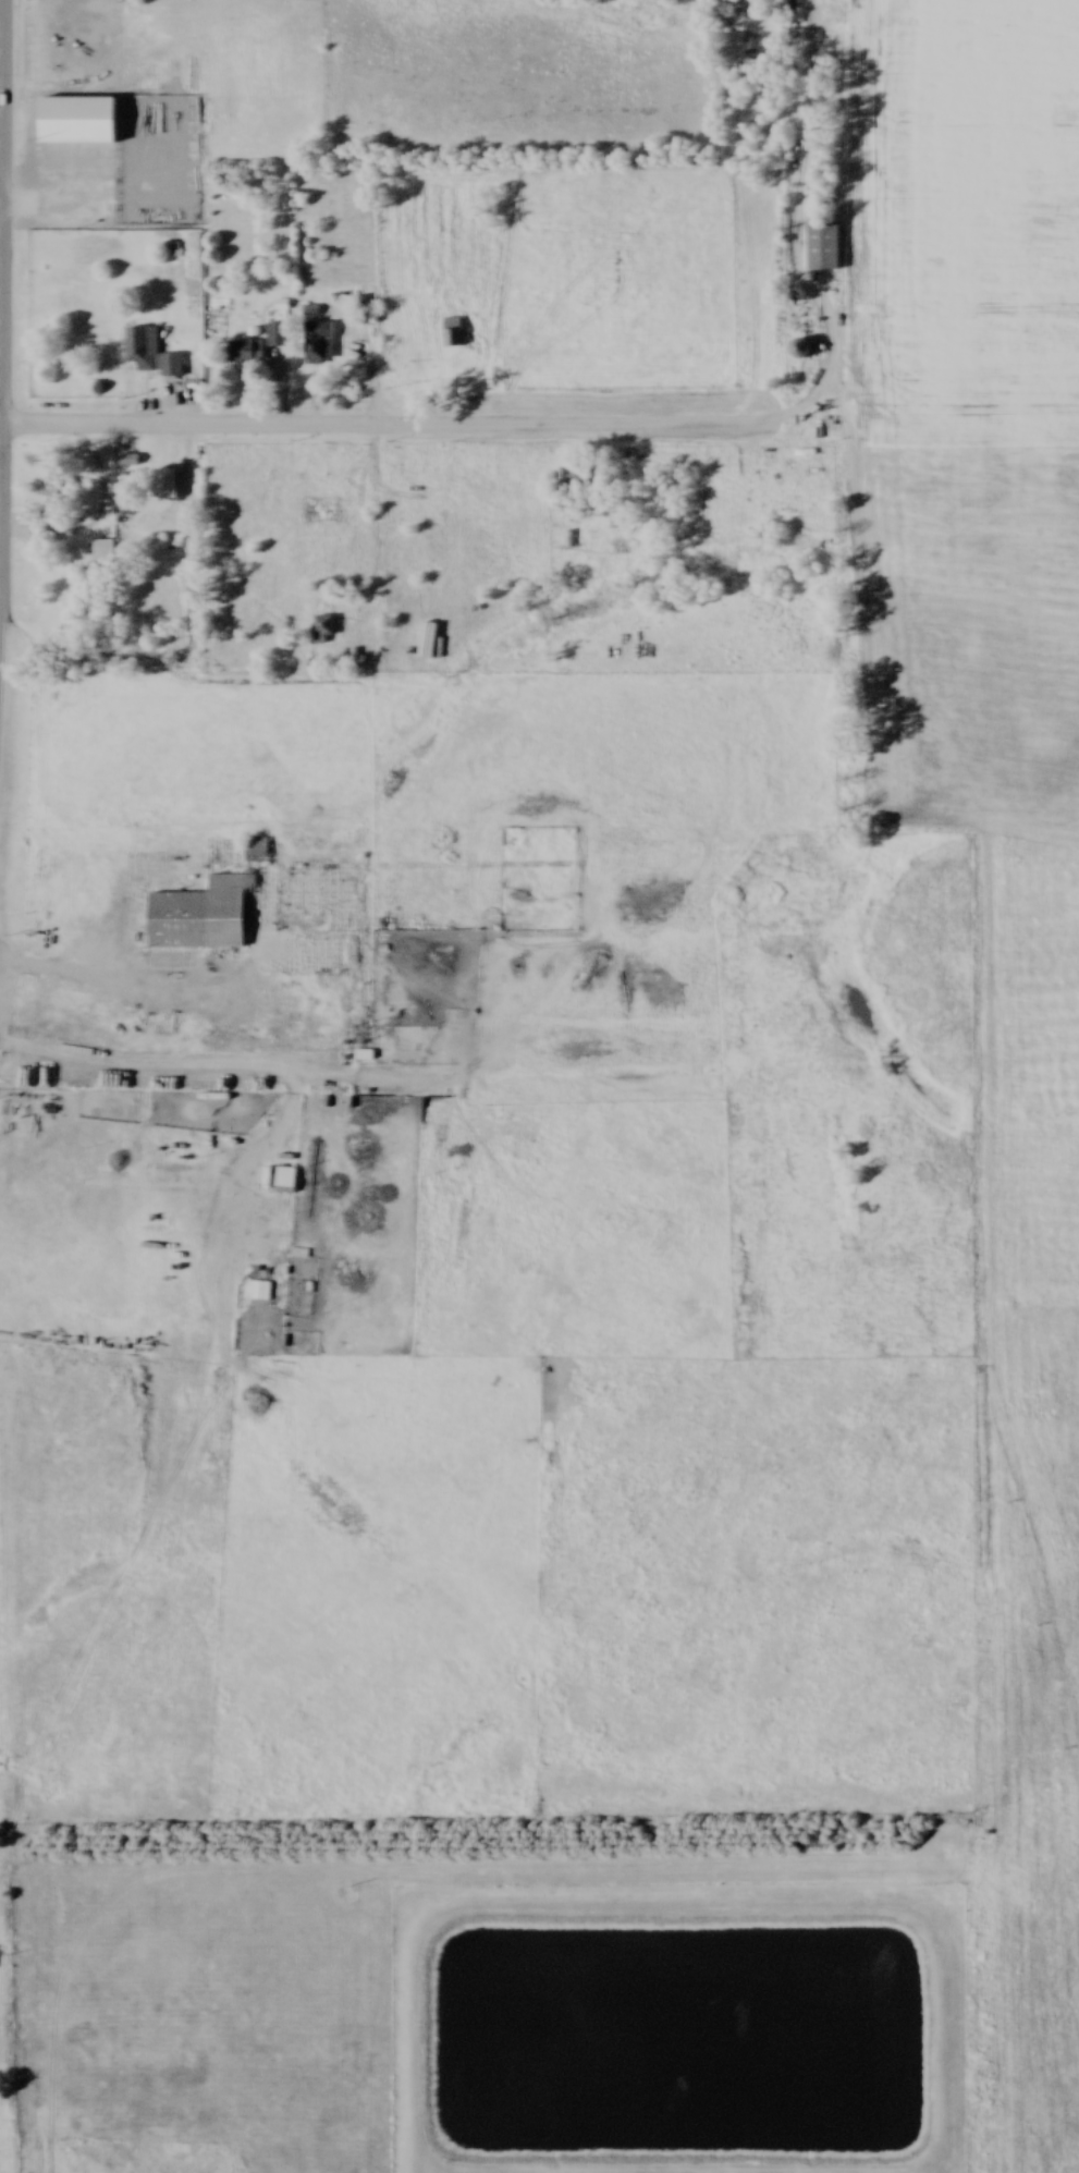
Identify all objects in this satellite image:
building: (82, 122)
road: (0, 169)
road: (0, 212)
building: (826, 249)
building: (473, 308)
building: (455, 334)
building: (259, 349)
building: (144, 350)
building: (805, 351)
building: (320, 352)
building: (174, 367)
road: (302, 426)
building: (576, 480)
building: (106, 554)
building: (327, 632)
building: (294, 851)
building: (201, 918)
building: (287, 1181)

